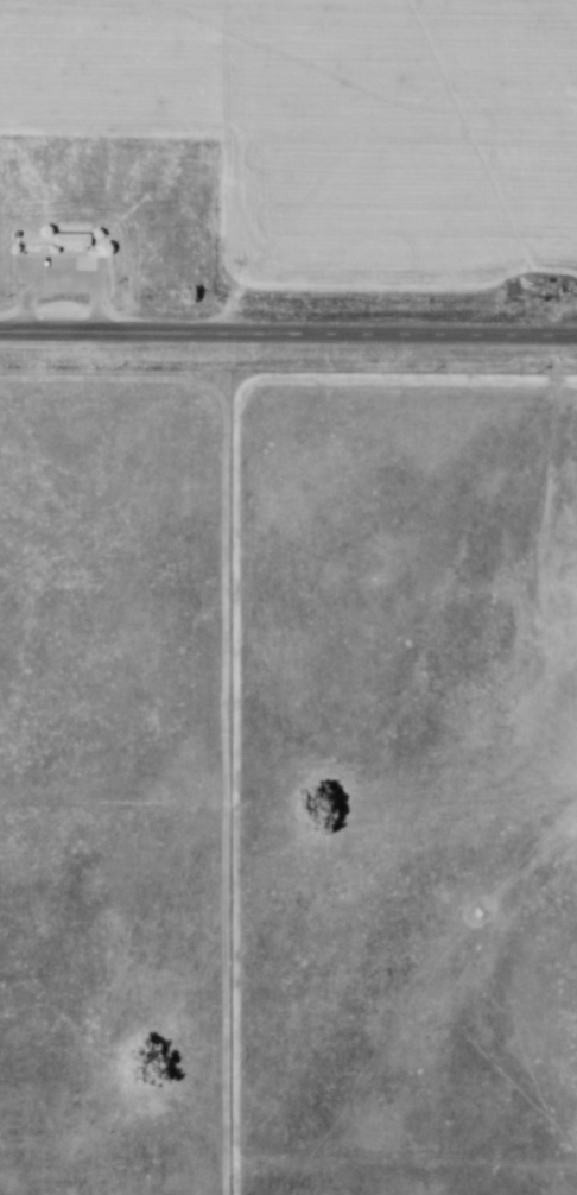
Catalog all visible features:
building: (70, 241)
road: (288, 337)

